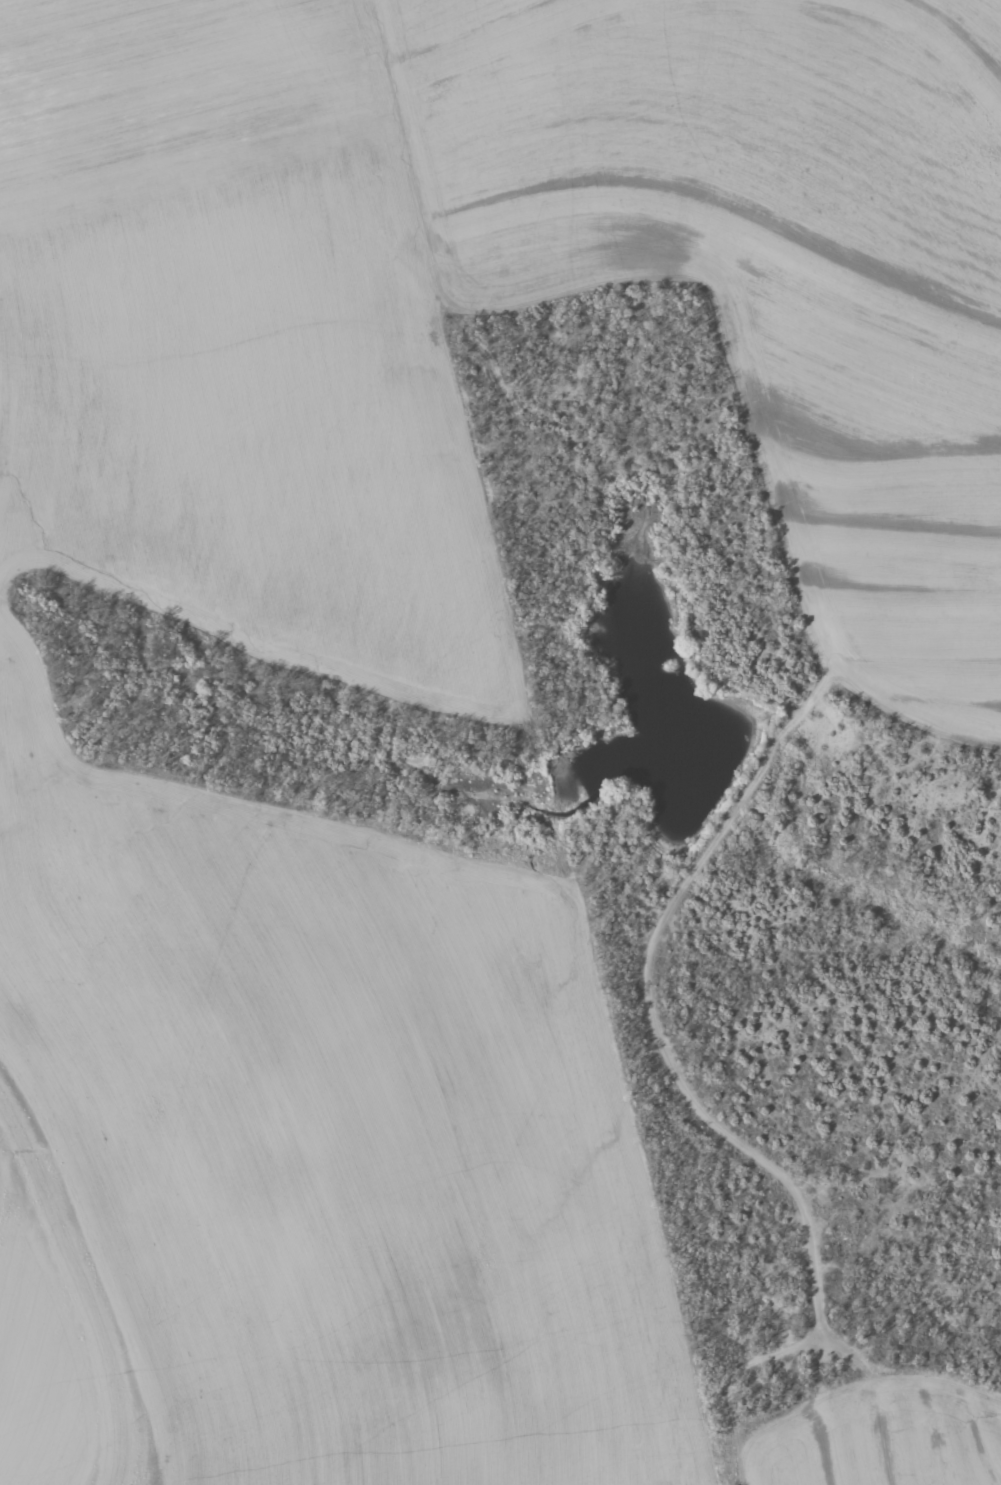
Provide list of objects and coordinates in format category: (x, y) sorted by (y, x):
road: (824, 671)

